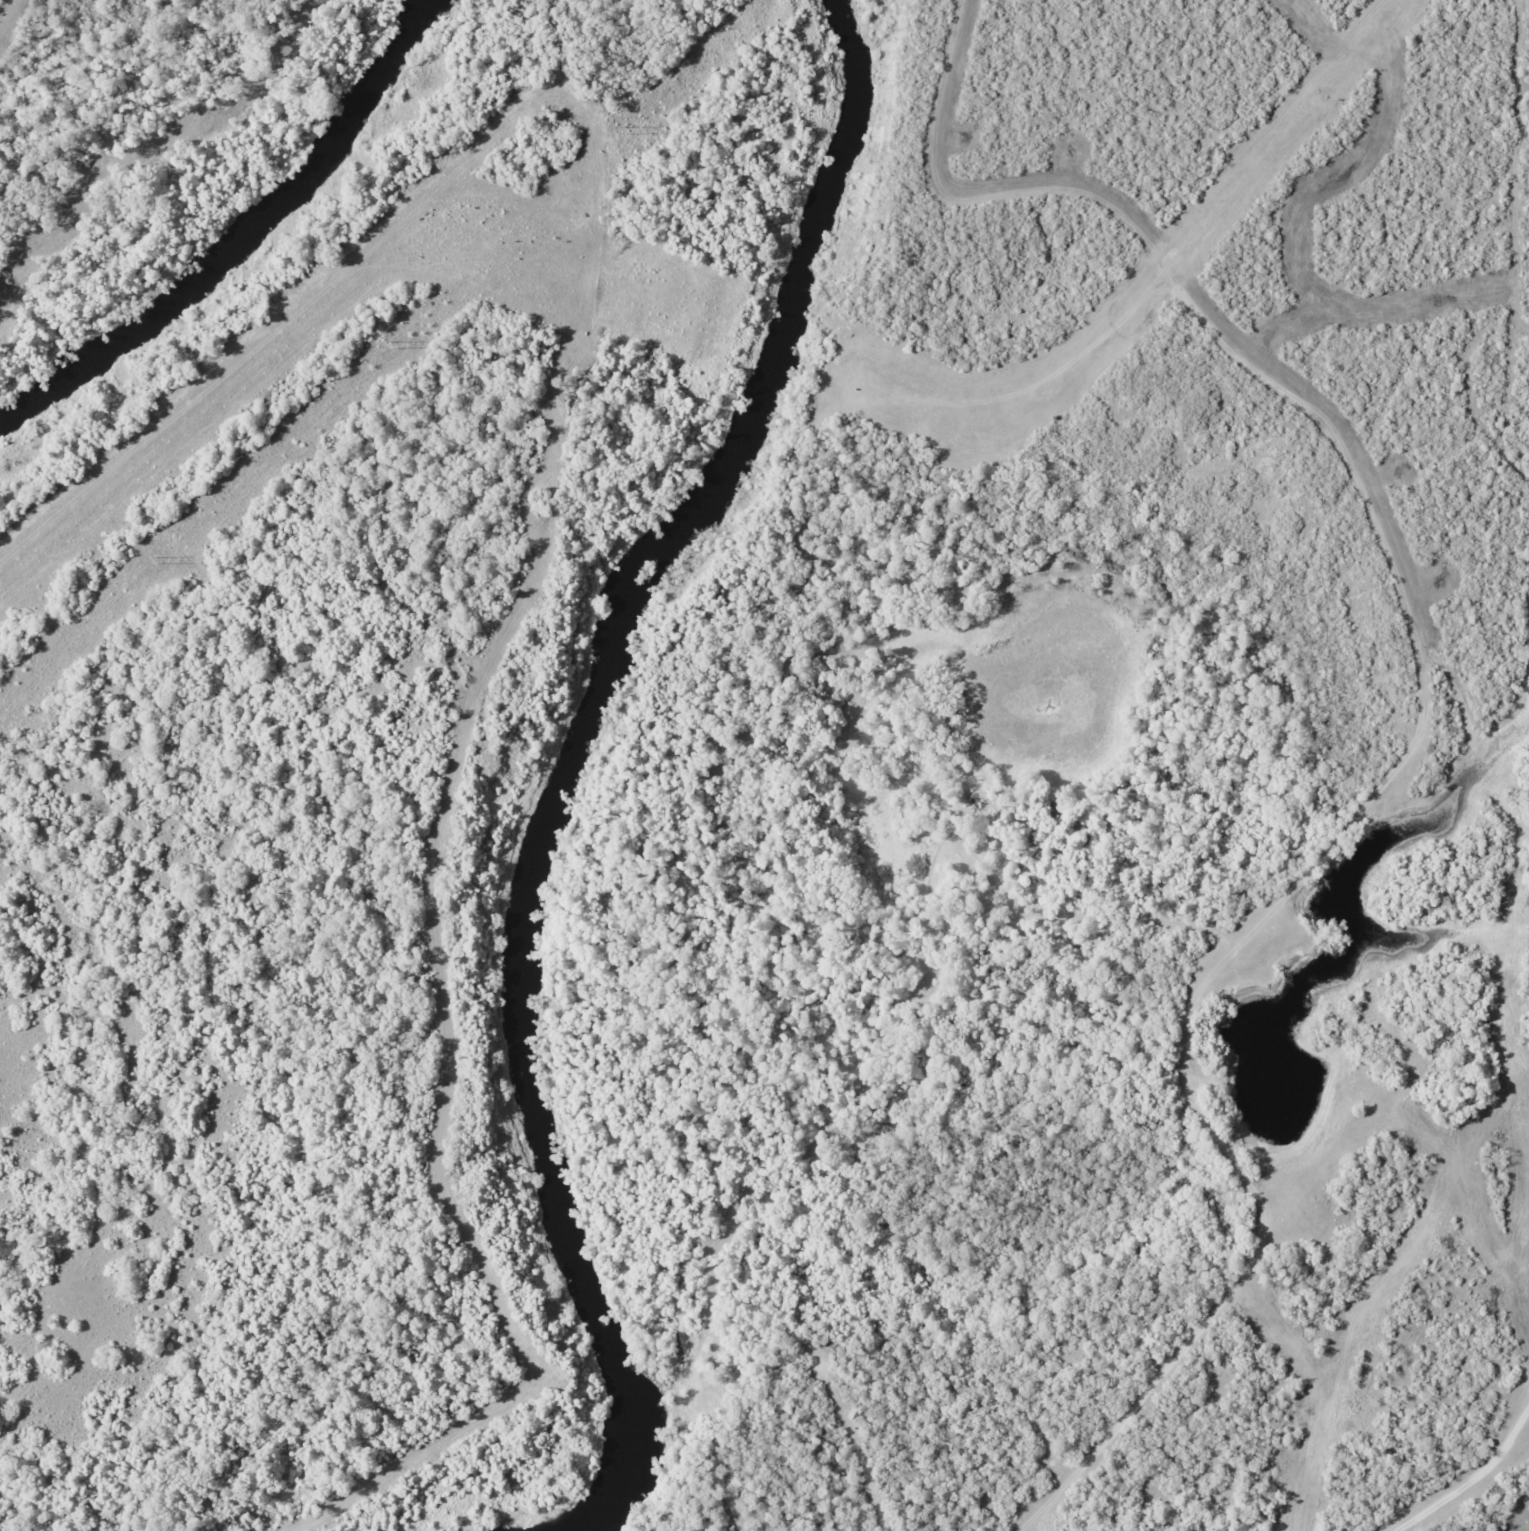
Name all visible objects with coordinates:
power tower: (624, 129)
river: (240, 238)
power tower: (392, 344)
power tower: (158, 560)
river: (576, 763)

